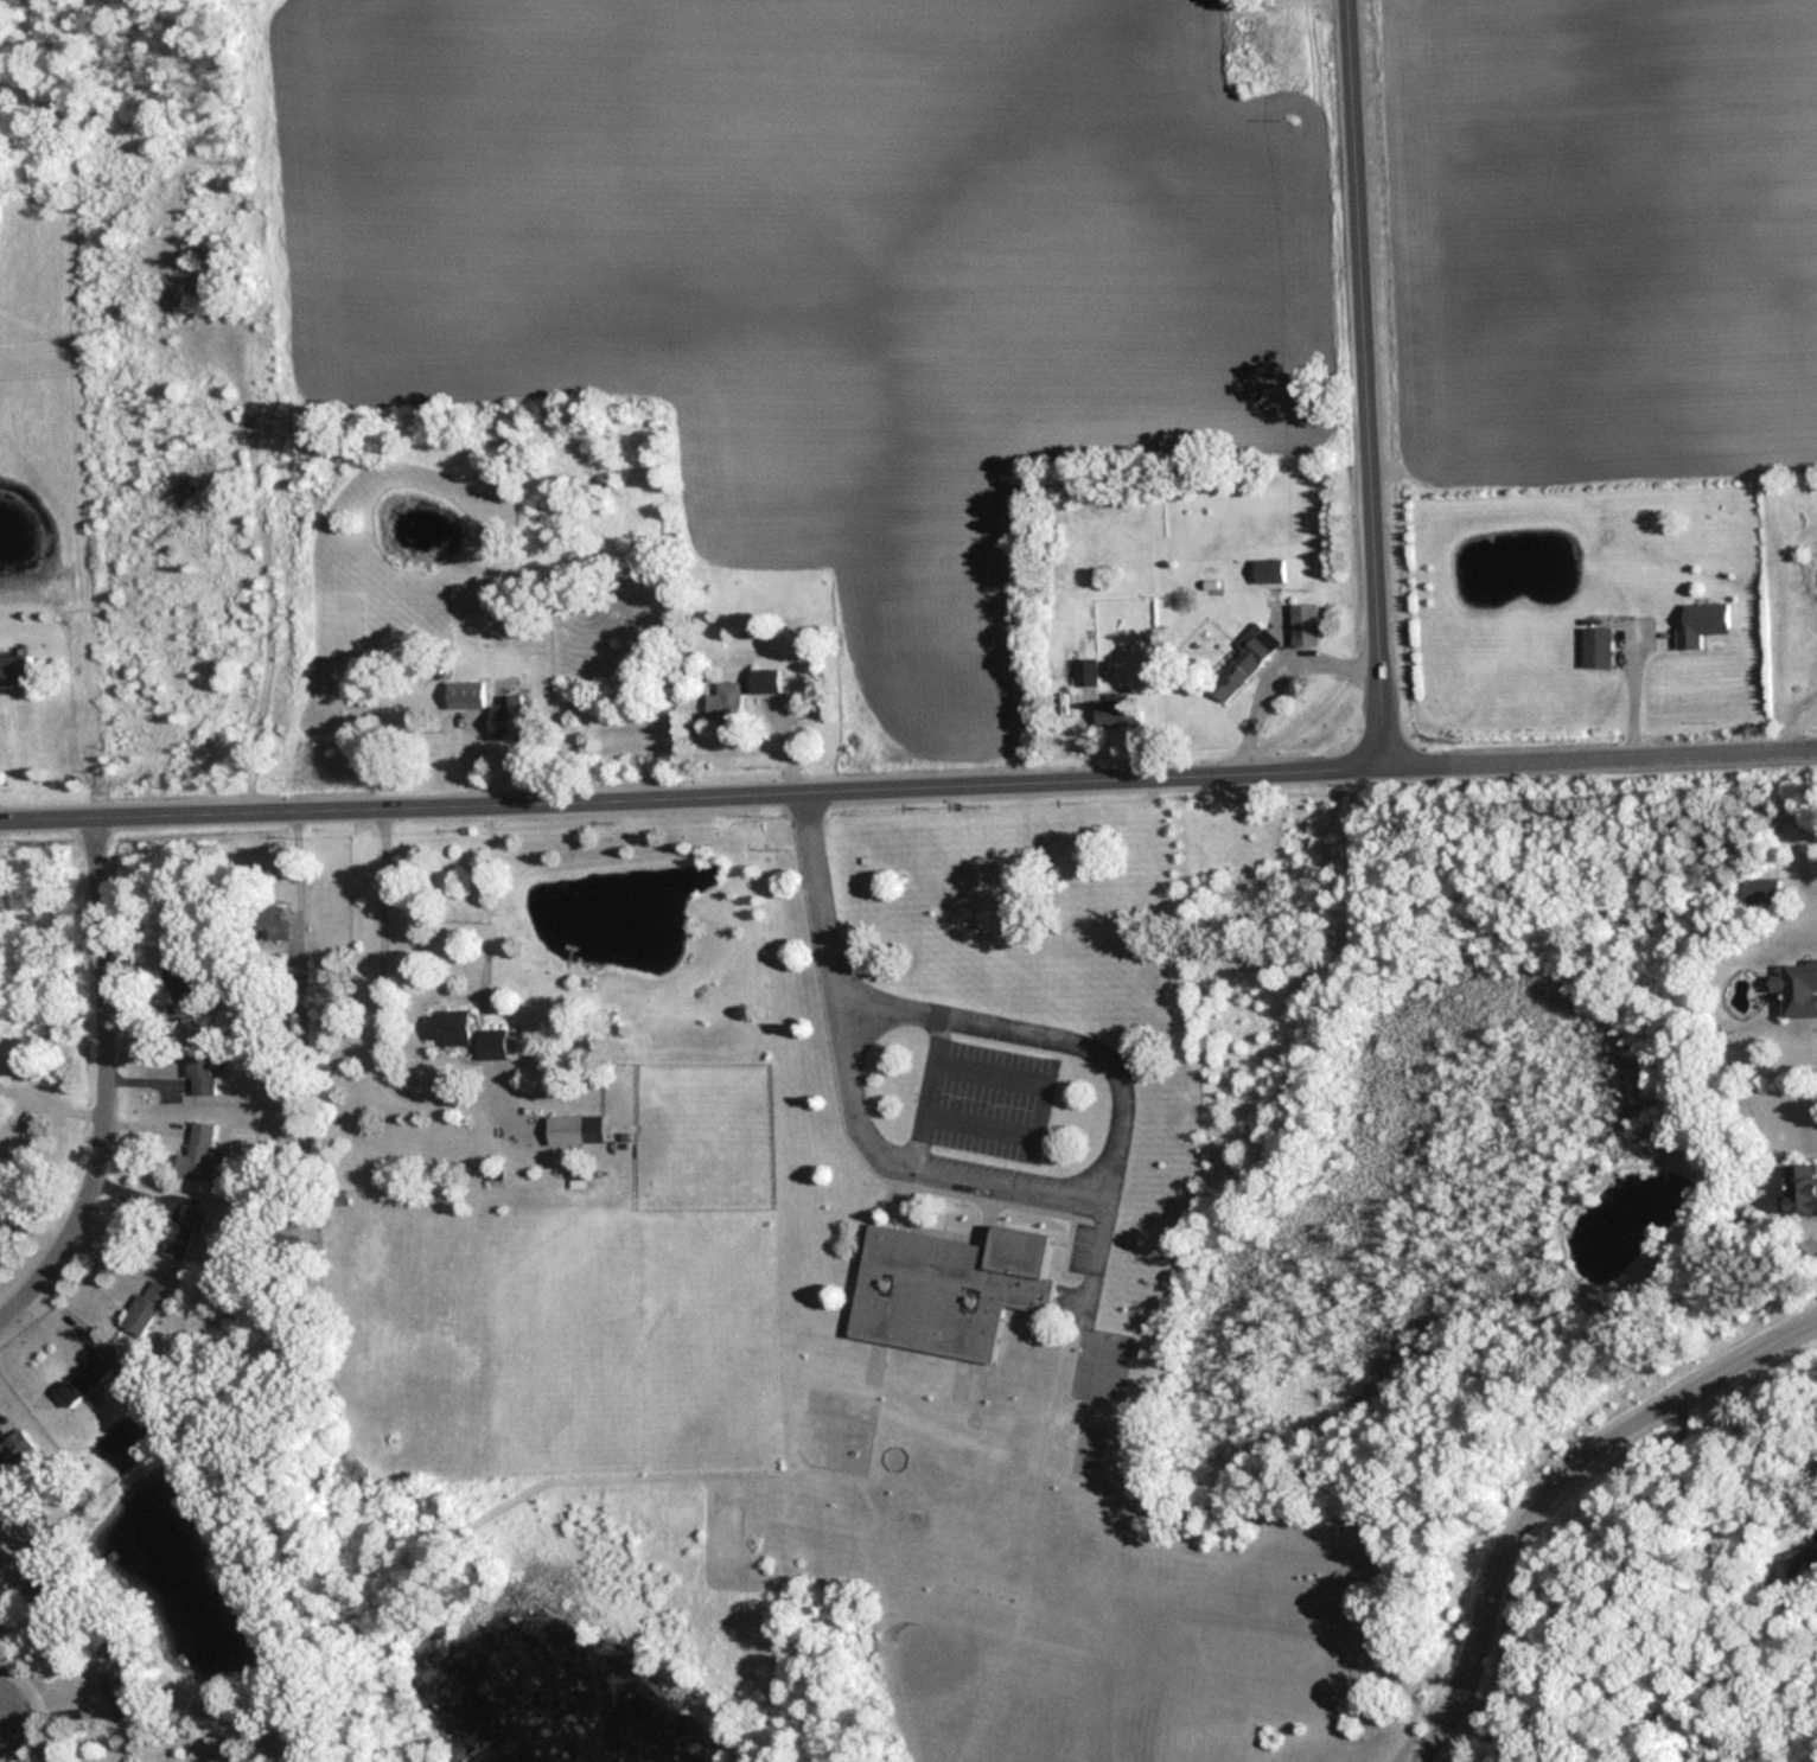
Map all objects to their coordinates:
building: (210, 270)
road: (1371, 376)
building: (1700, 624)
building: (1303, 625)
building: (1595, 649)
road: (1283, 659)
building: (1242, 660)
building: (14, 670)
building: (1085, 671)
building: (765, 681)
building: (465, 695)
building: (725, 703)
building: (1114, 710)
road: (1792, 715)
building: (506, 719)
road: (1604, 747)
road: (695, 786)
building: (272, 921)
road: (381, 988)
building: (1797, 989)
road: (992, 1027)
building: (465, 1038)
building: (199, 1072)
road: (108, 1081)
road: (930, 1090)
building: (574, 1129)
building: (196, 1154)
road: (895, 1157)
building: (578, 1173)
building: (1800, 1188)
building: (181, 1231)
park: (1034, 1269)
building: (948, 1288)
building: (145, 1307)
building: (81, 1379)
building: (13, 1447)
road: (1545, 1483)
building: (1816, 1559)
building: (42, 1591)
building: (116, 1693)
road: (4, 1719)
road: (1485, 1726)
building: (286, 1742)

